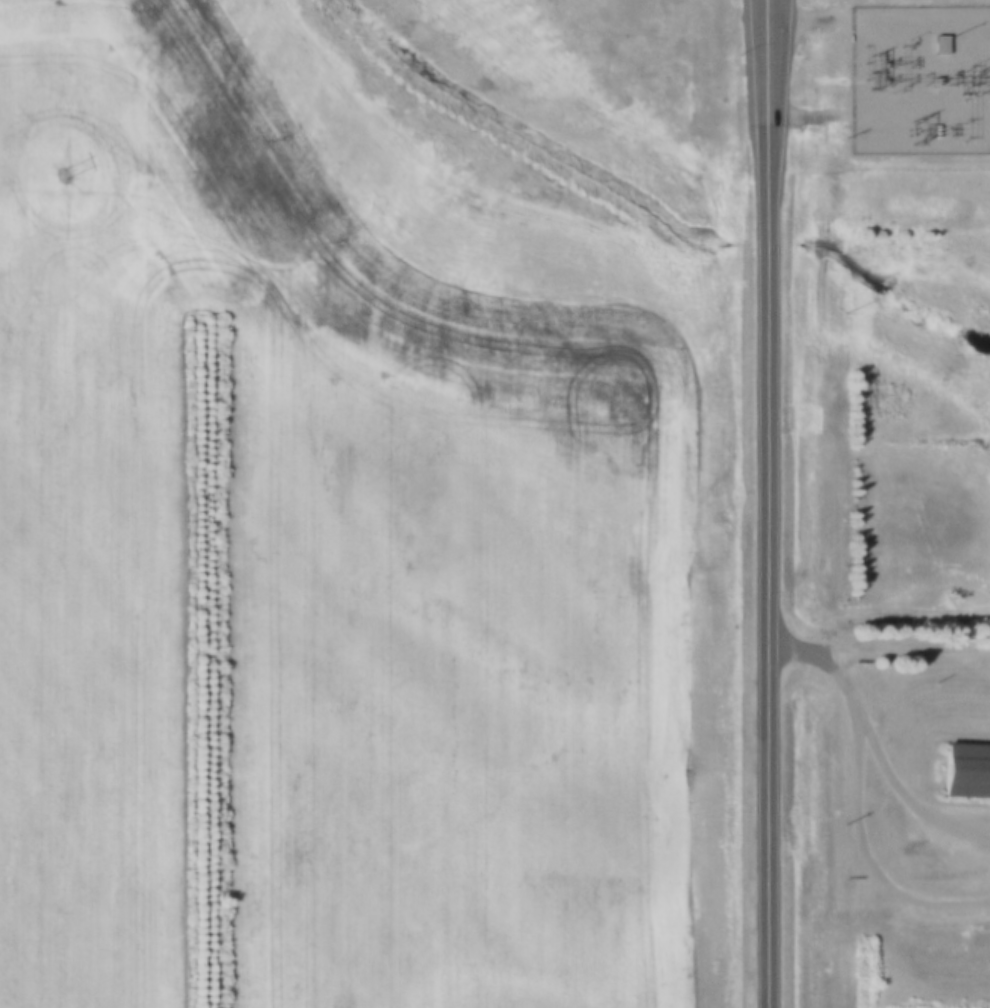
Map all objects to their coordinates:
road: (765, 27)
building: (938, 39)
power substation: (920, 79)
road: (764, 531)
road: (884, 607)
road: (823, 659)
road: (856, 759)
building: (965, 763)

